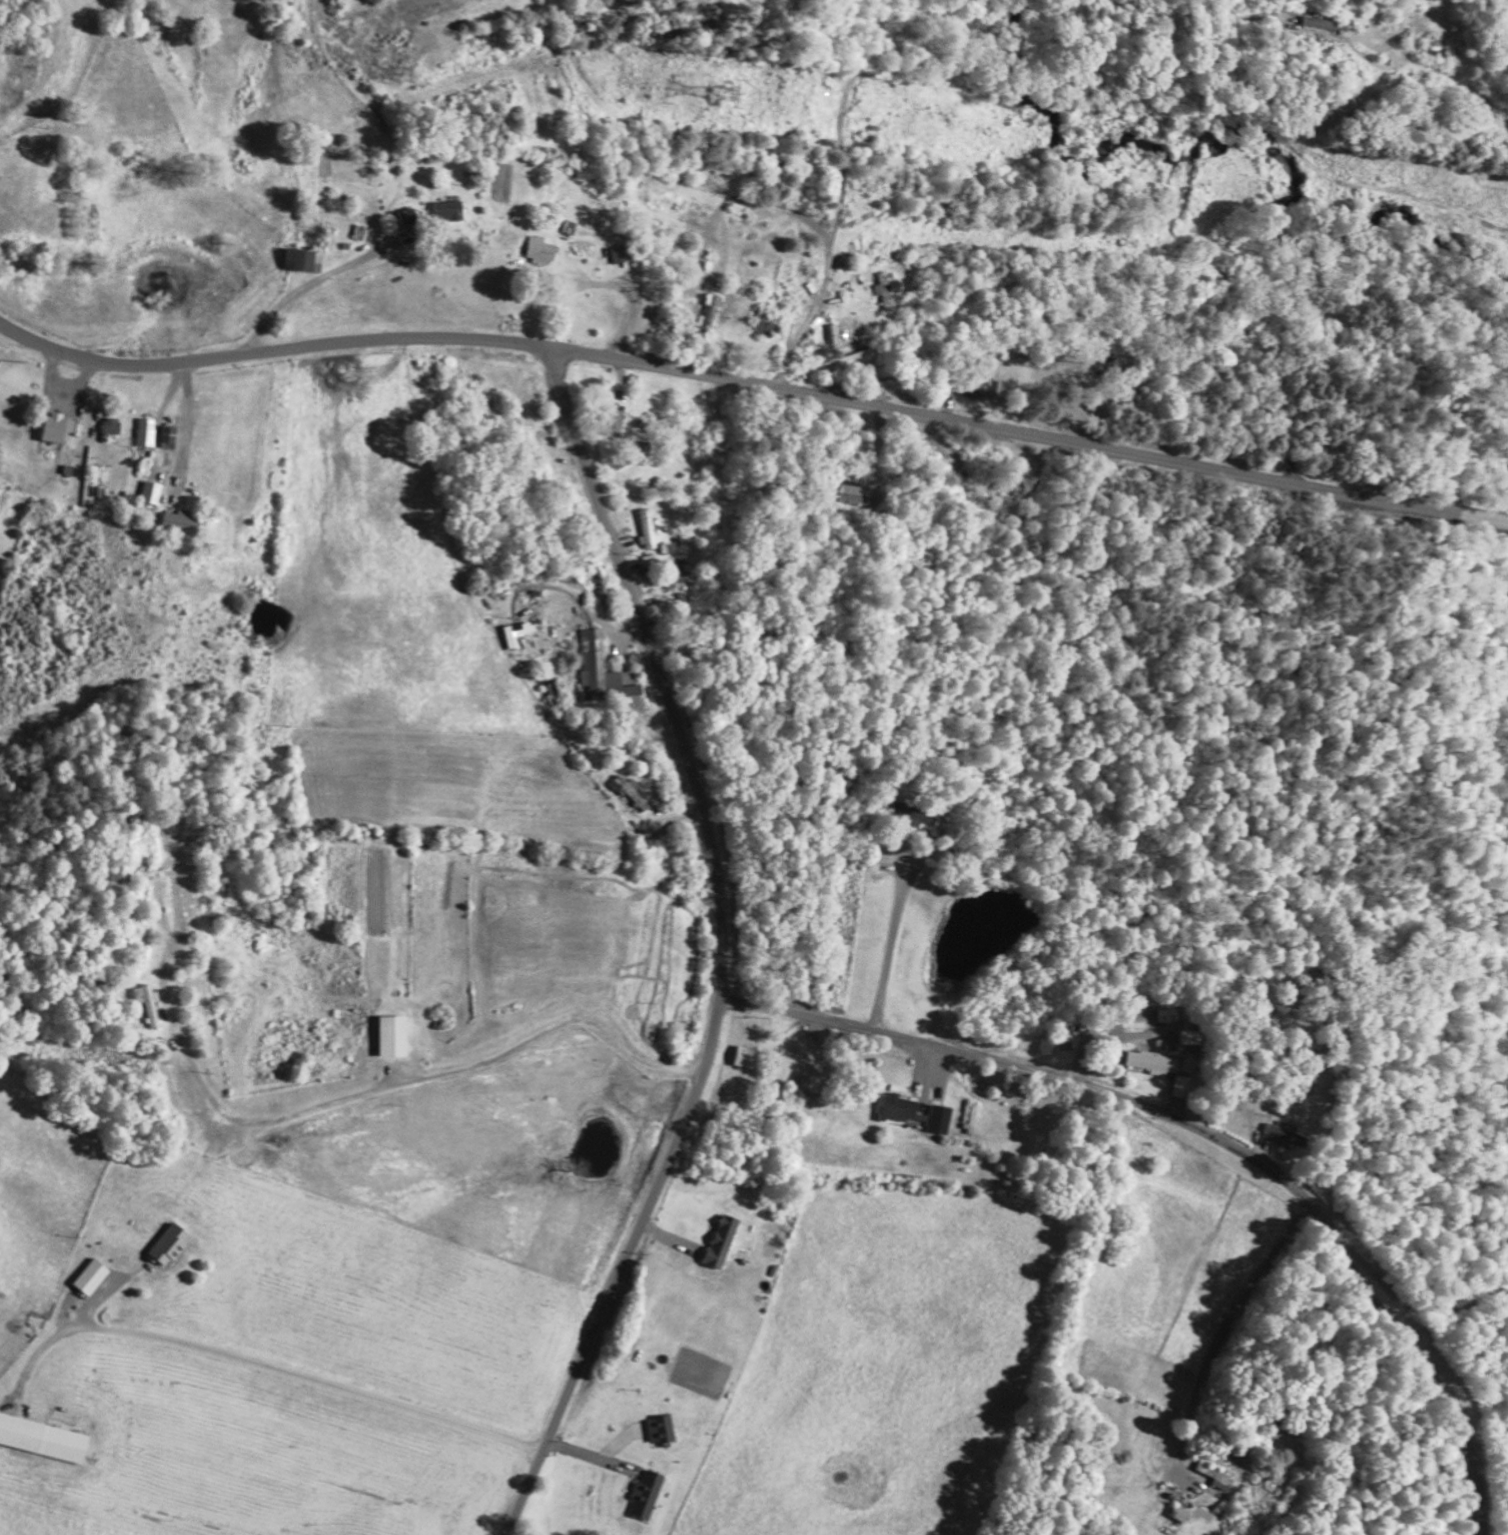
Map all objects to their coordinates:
building: (1332, 22)
building: (451, 211)
building: (542, 250)
building: (622, 254)
building: (303, 259)
building: (887, 290)
building: (710, 315)
road: (753, 383)
building: (114, 426)
building: (60, 428)
building: (148, 432)
building: (171, 434)
road: (176, 488)
building: (153, 492)
building: (184, 522)
building: (603, 668)
building: (627, 789)
road: (721, 949)
building: (395, 1036)
building: (748, 1058)
building: (1154, 1062)
building: (815, 1084)
building: (1181, 1087)
building: (919, 1113)
road: (1204, 1132)
road: (400, 1134)
building: (1286, 1134)
building: (724, 1240)
building: (170, 1242)
building: (94, 1276)
road: (1234, 1351)
road: (324, 1360)
building: (663, 1429)
building: (44, 1438)
building: (648, 1493)

